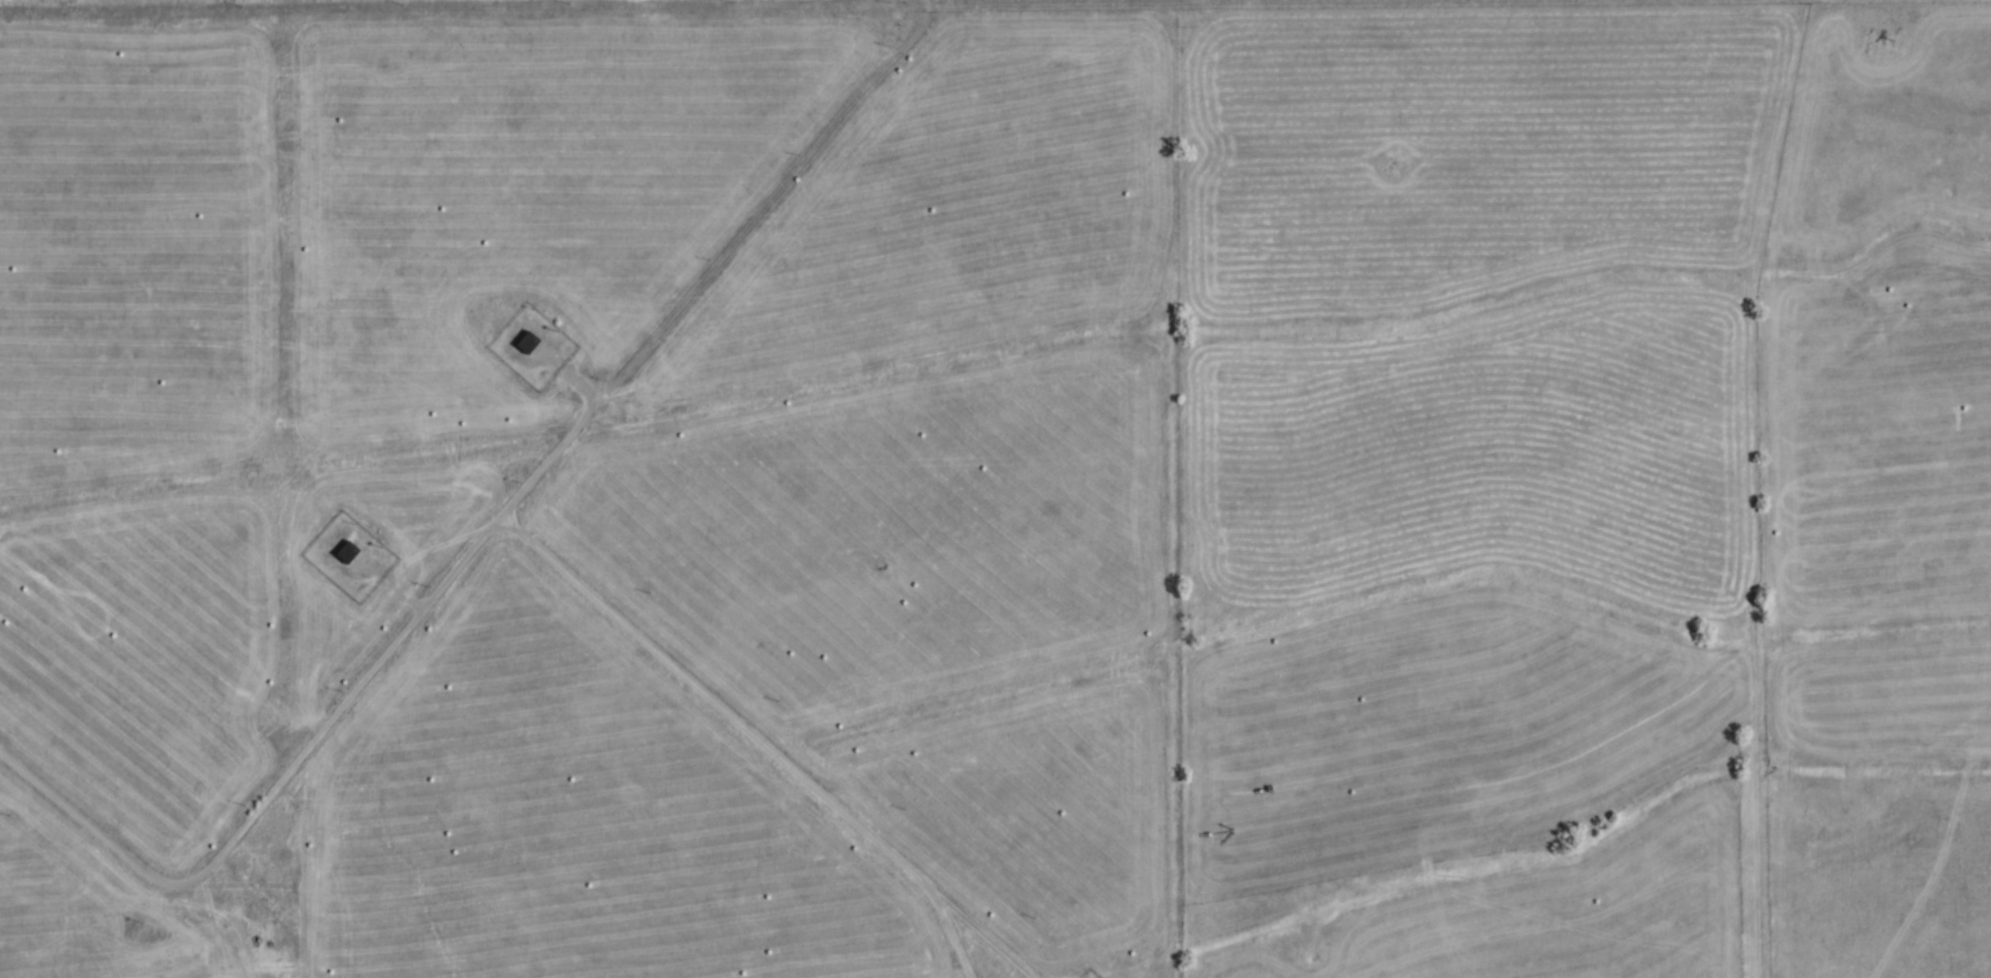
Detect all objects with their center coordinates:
building: (525, 342)
building: (344, 550)

